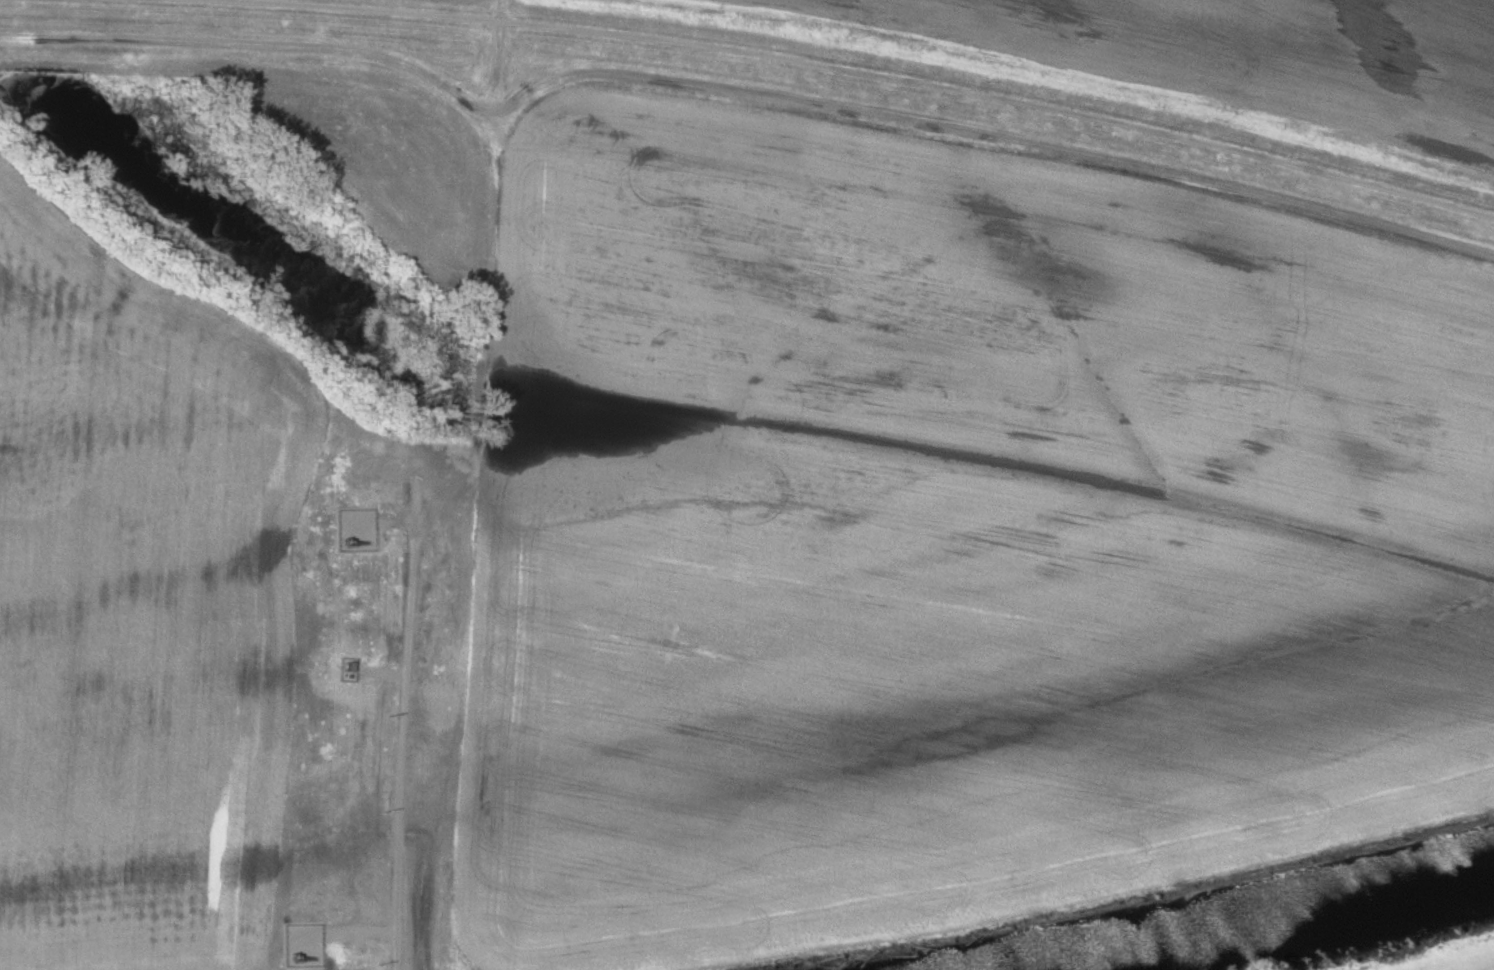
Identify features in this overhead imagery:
crop: (1245, 54)
road: (823, 67)
crop: (383, 158)
crop: (952, 534)
crop: (215, 638)
crop: (1458, 960)

